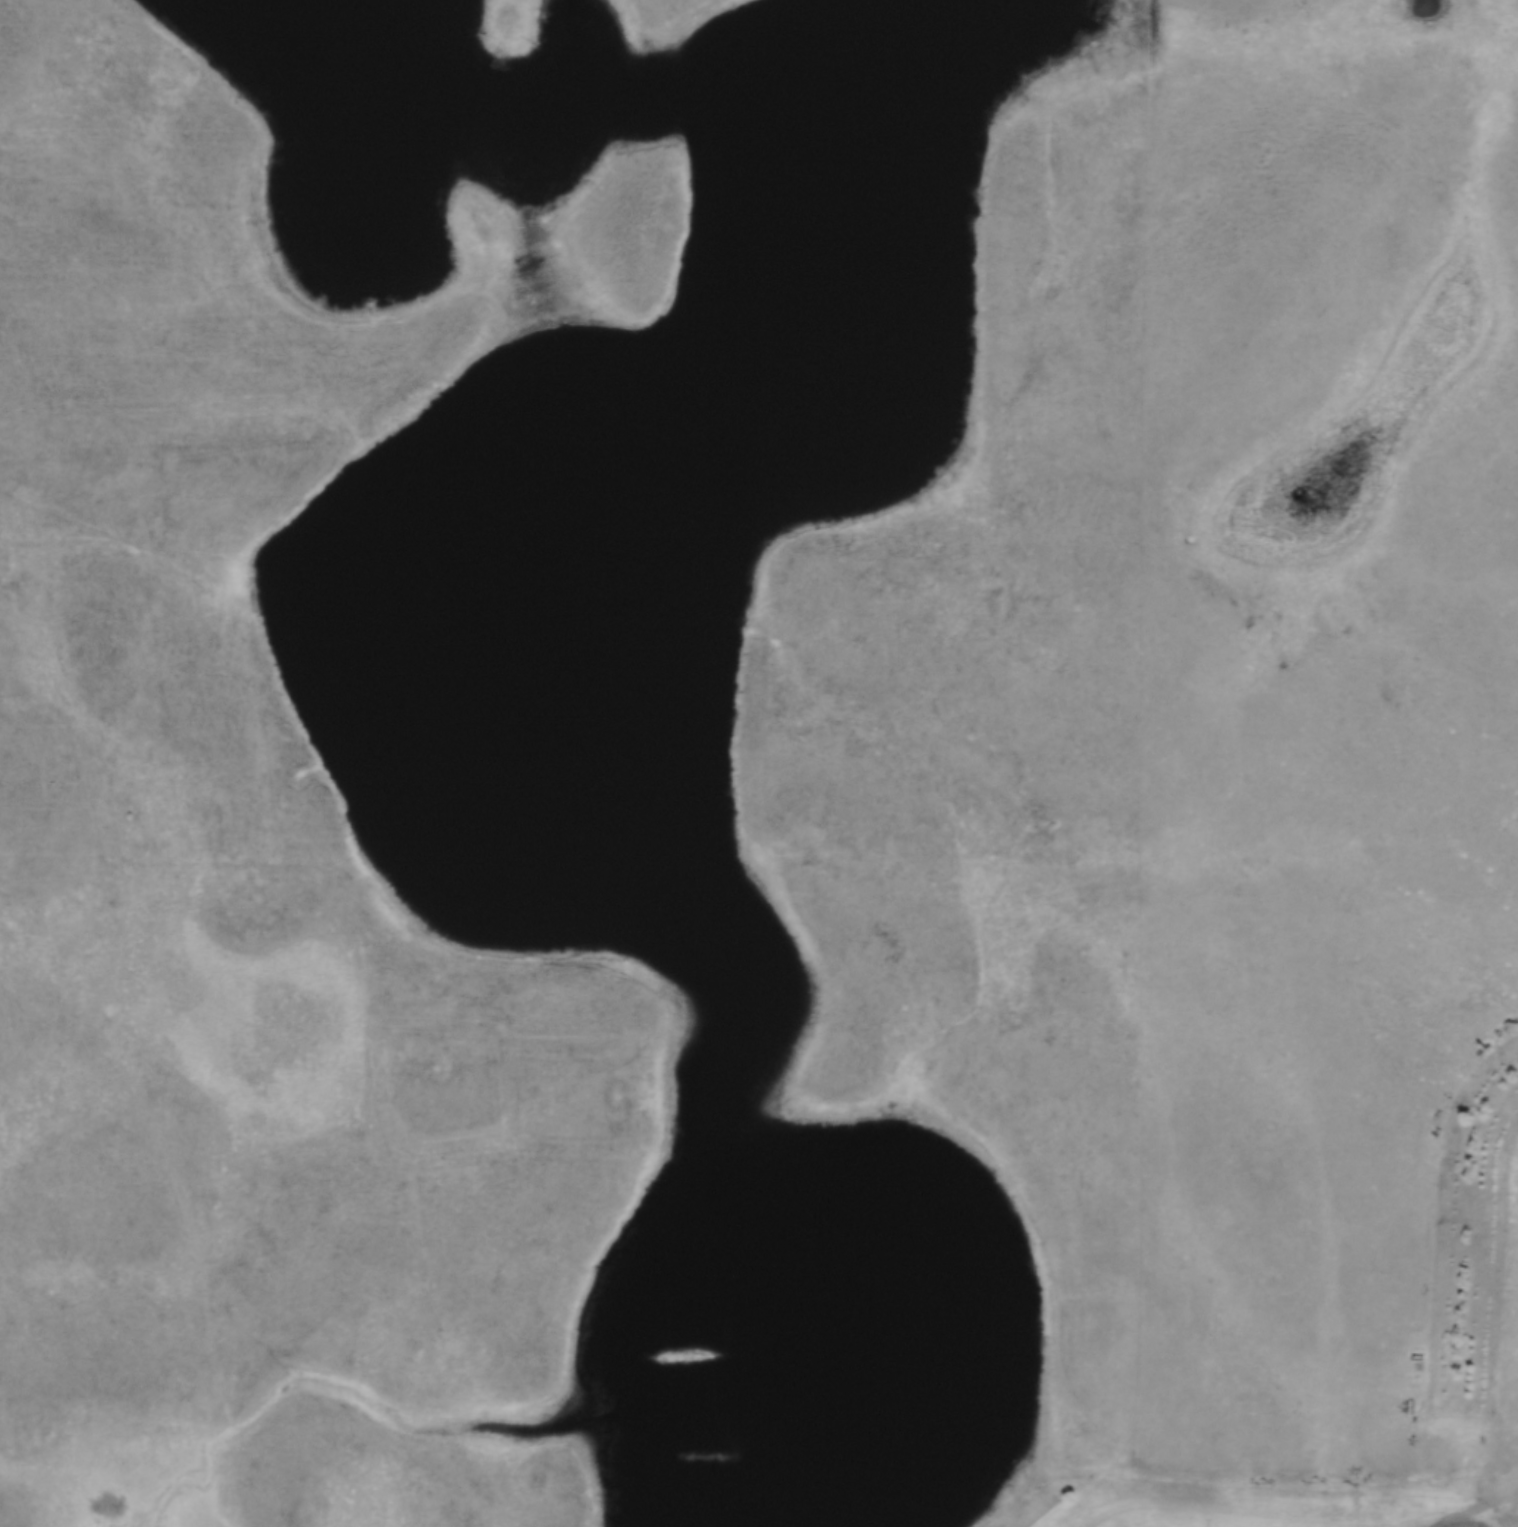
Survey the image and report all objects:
road: (1295, 1503)
road: (1508, 1510)

